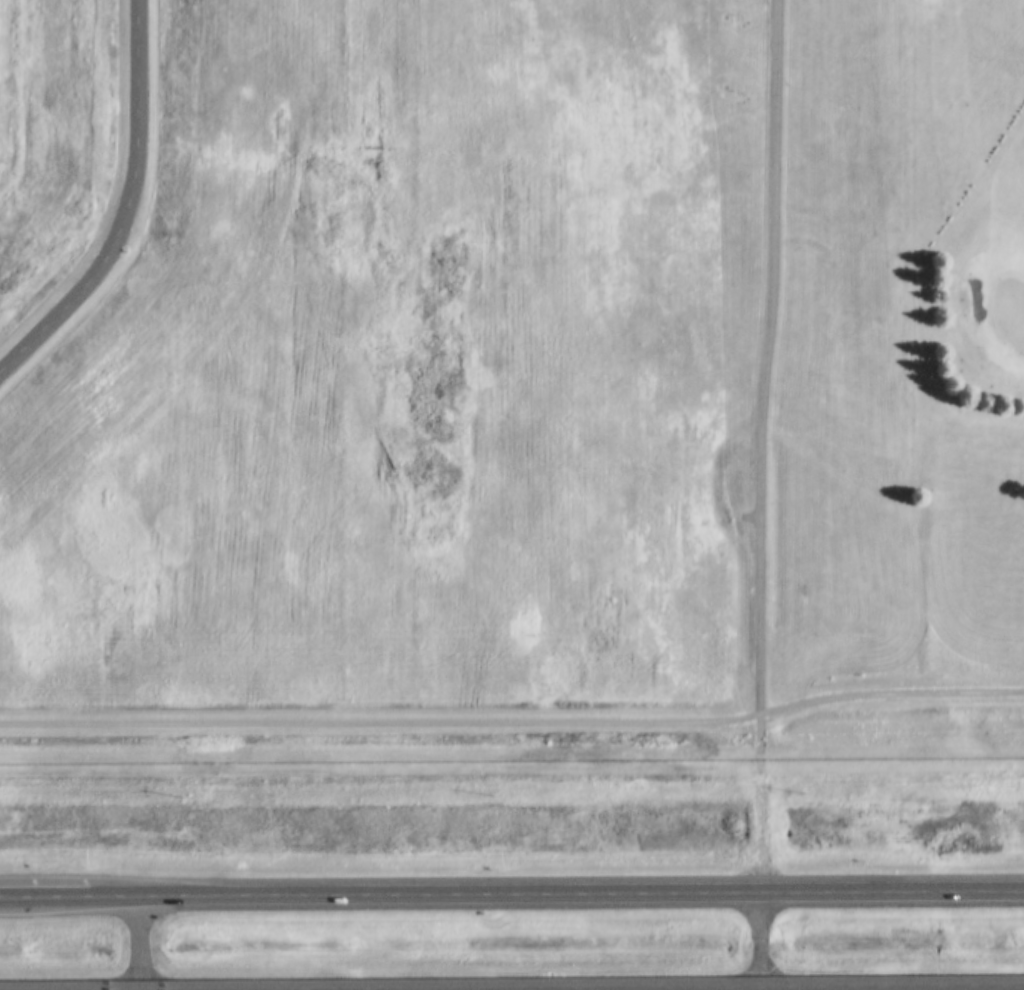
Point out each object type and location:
airport: (61, 104)
road: (129, 208)
park: (946, 222)
road: (772, 356)
road: (511, 886)
road: (512, 983)

